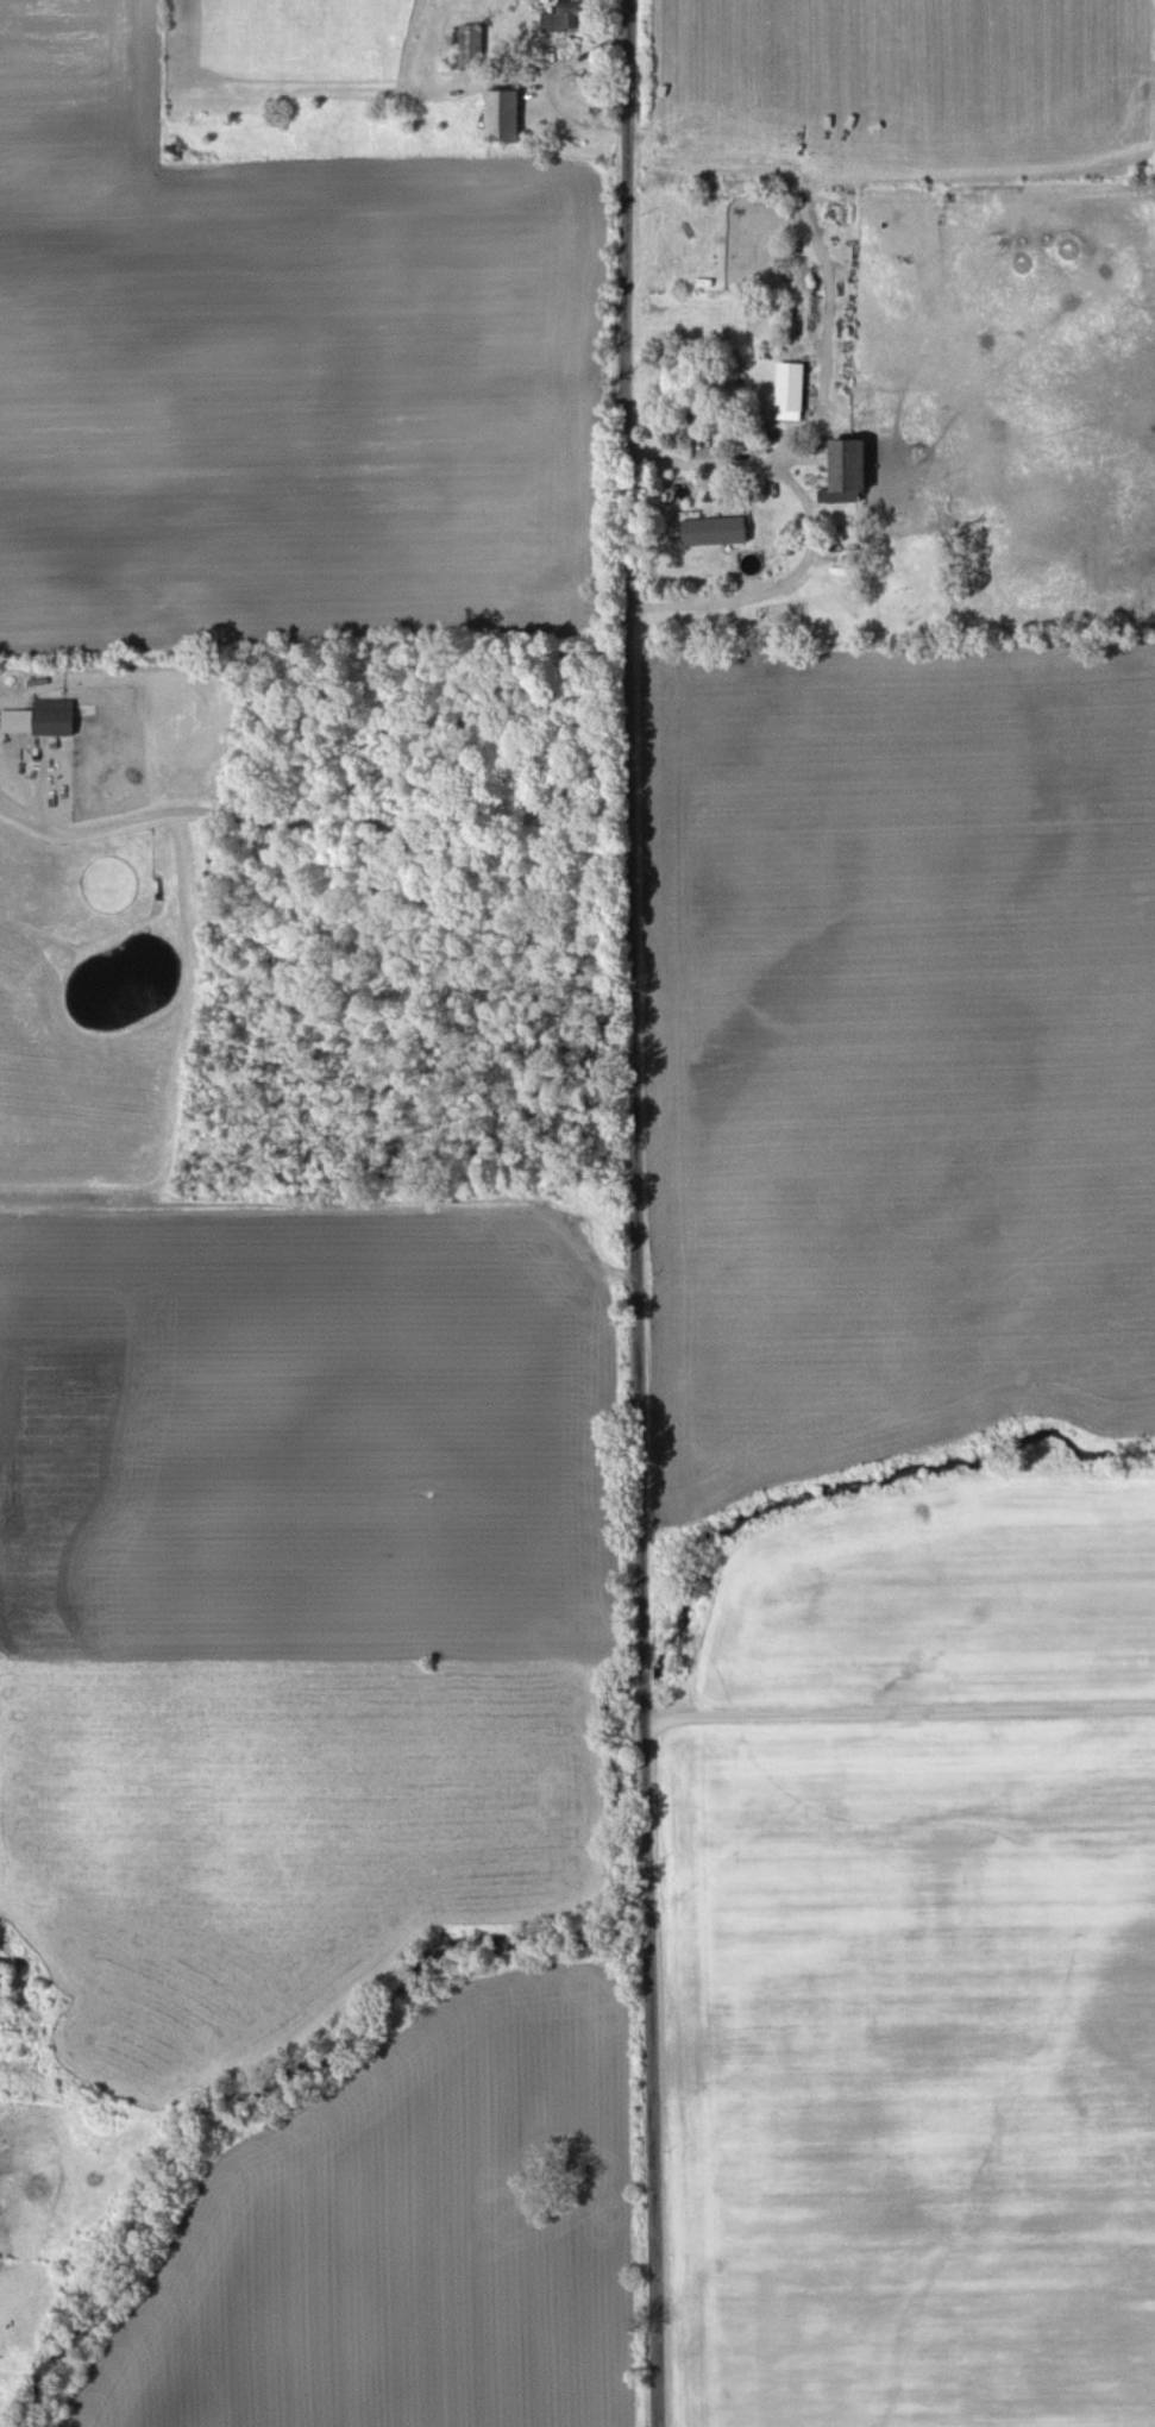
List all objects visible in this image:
building: (561, 20)
building: (471, 46)
building: (506, 115)
building: (853, 470)
building: (683, 507)
road: (811, 539)
building: (55, 717)
road: (321, 823)
road: (636, 1213)
building: (4, 1983)

